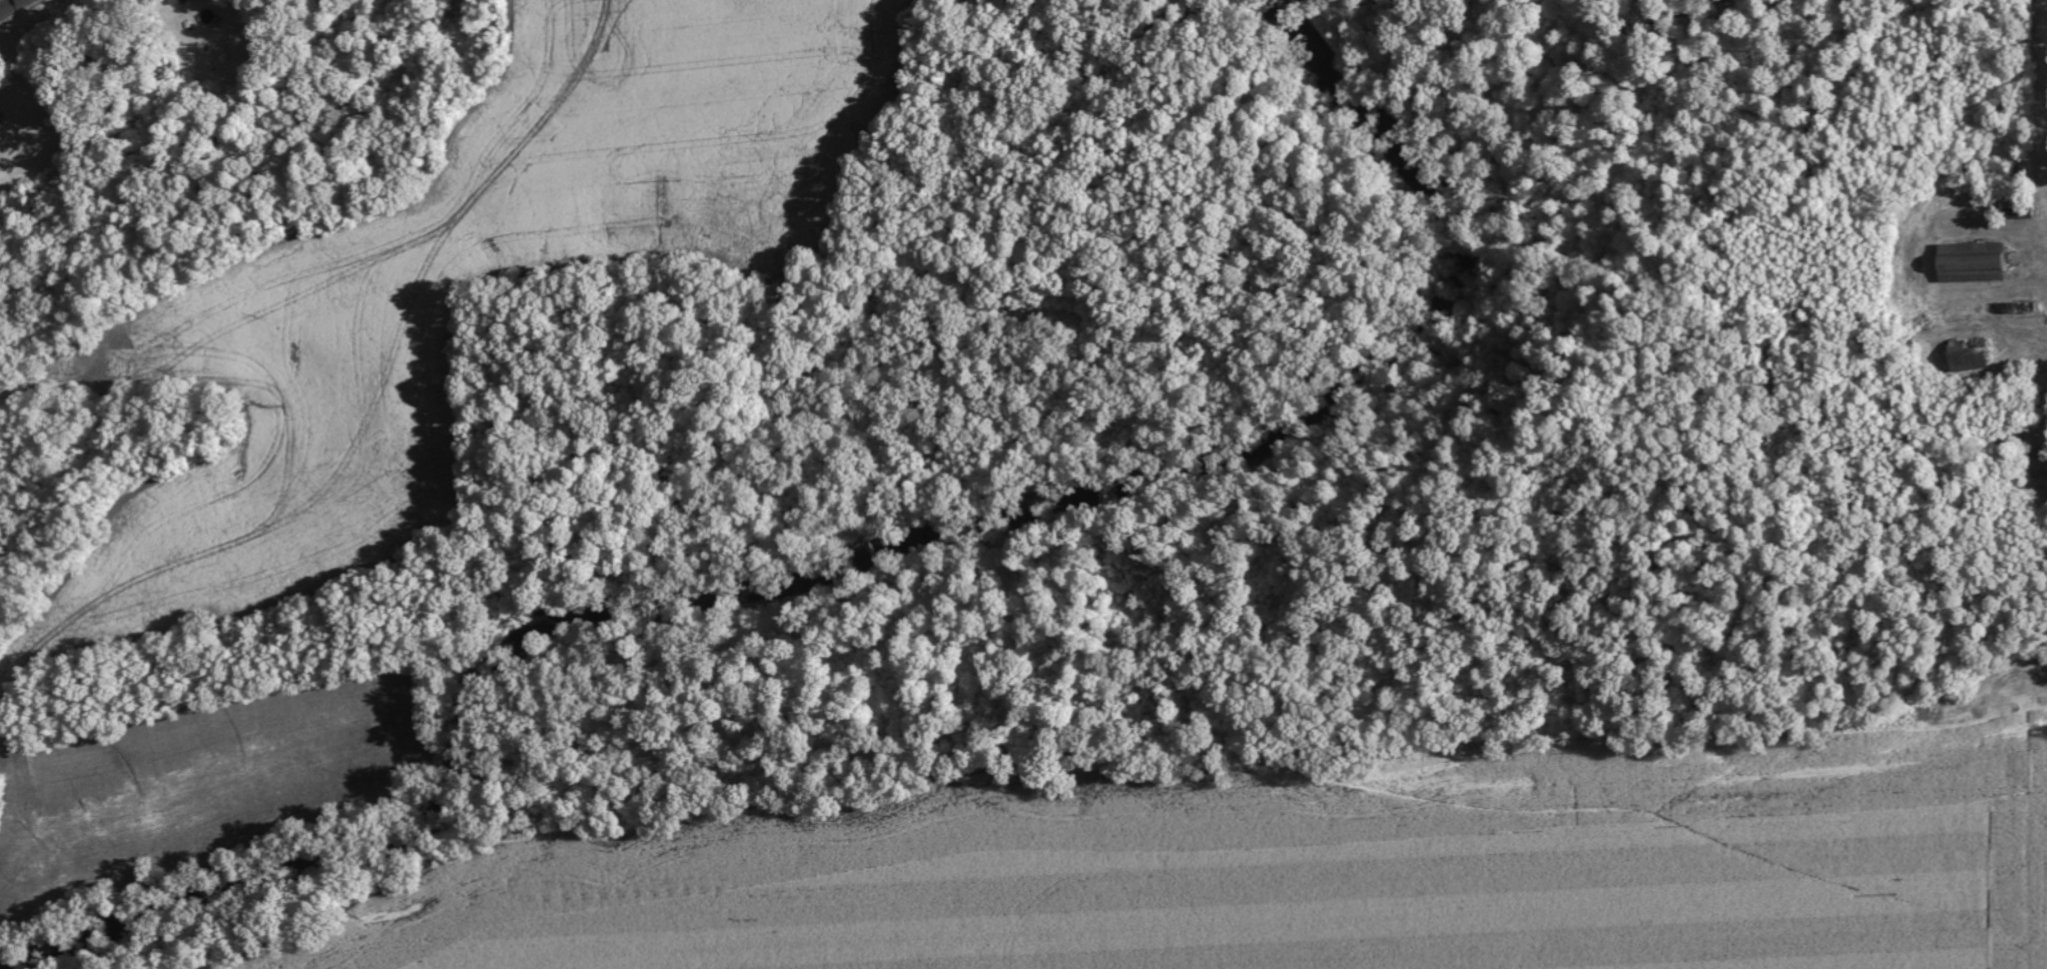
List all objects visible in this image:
building: (179, 2)
road: (7, 4)
building: (1976, 262)
building: (1974, 362)

